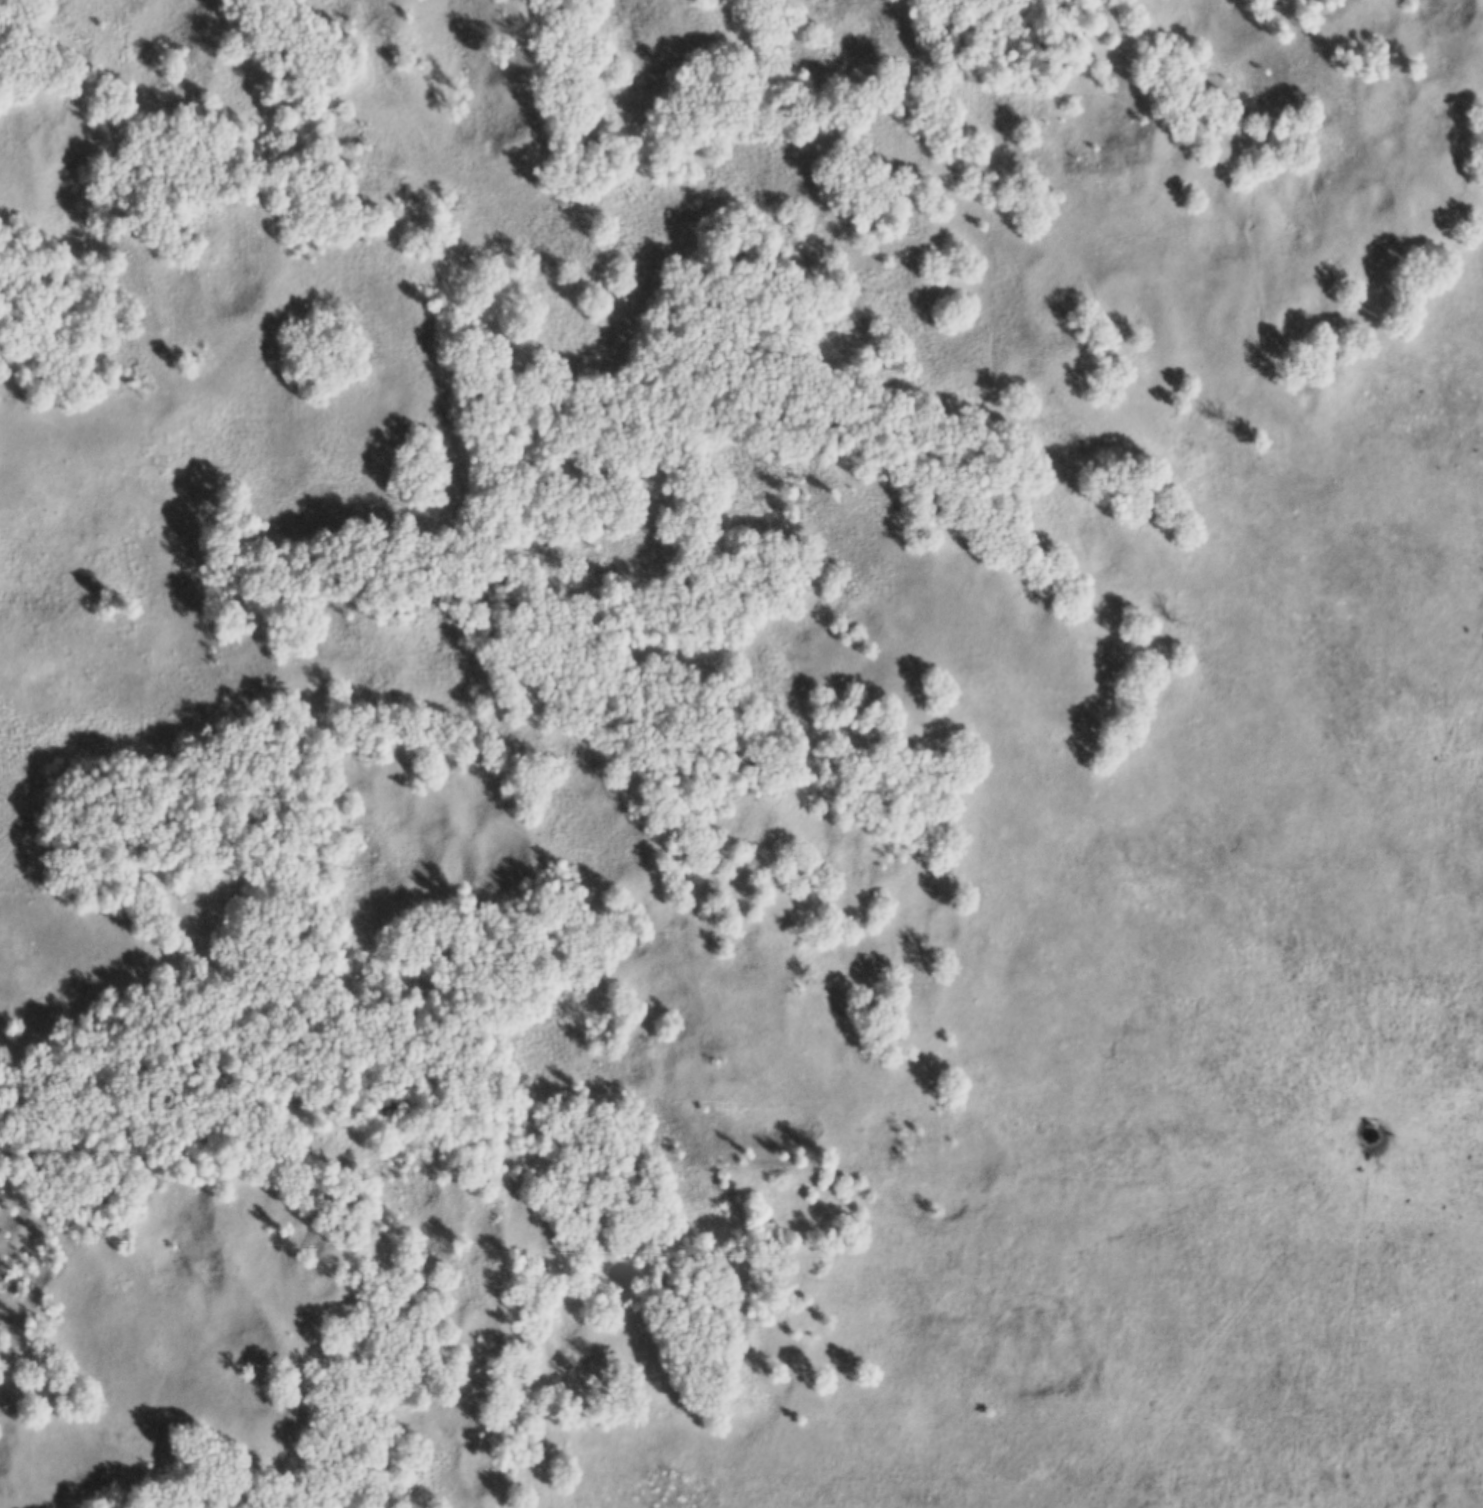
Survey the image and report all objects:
road: (1230, 1330)

